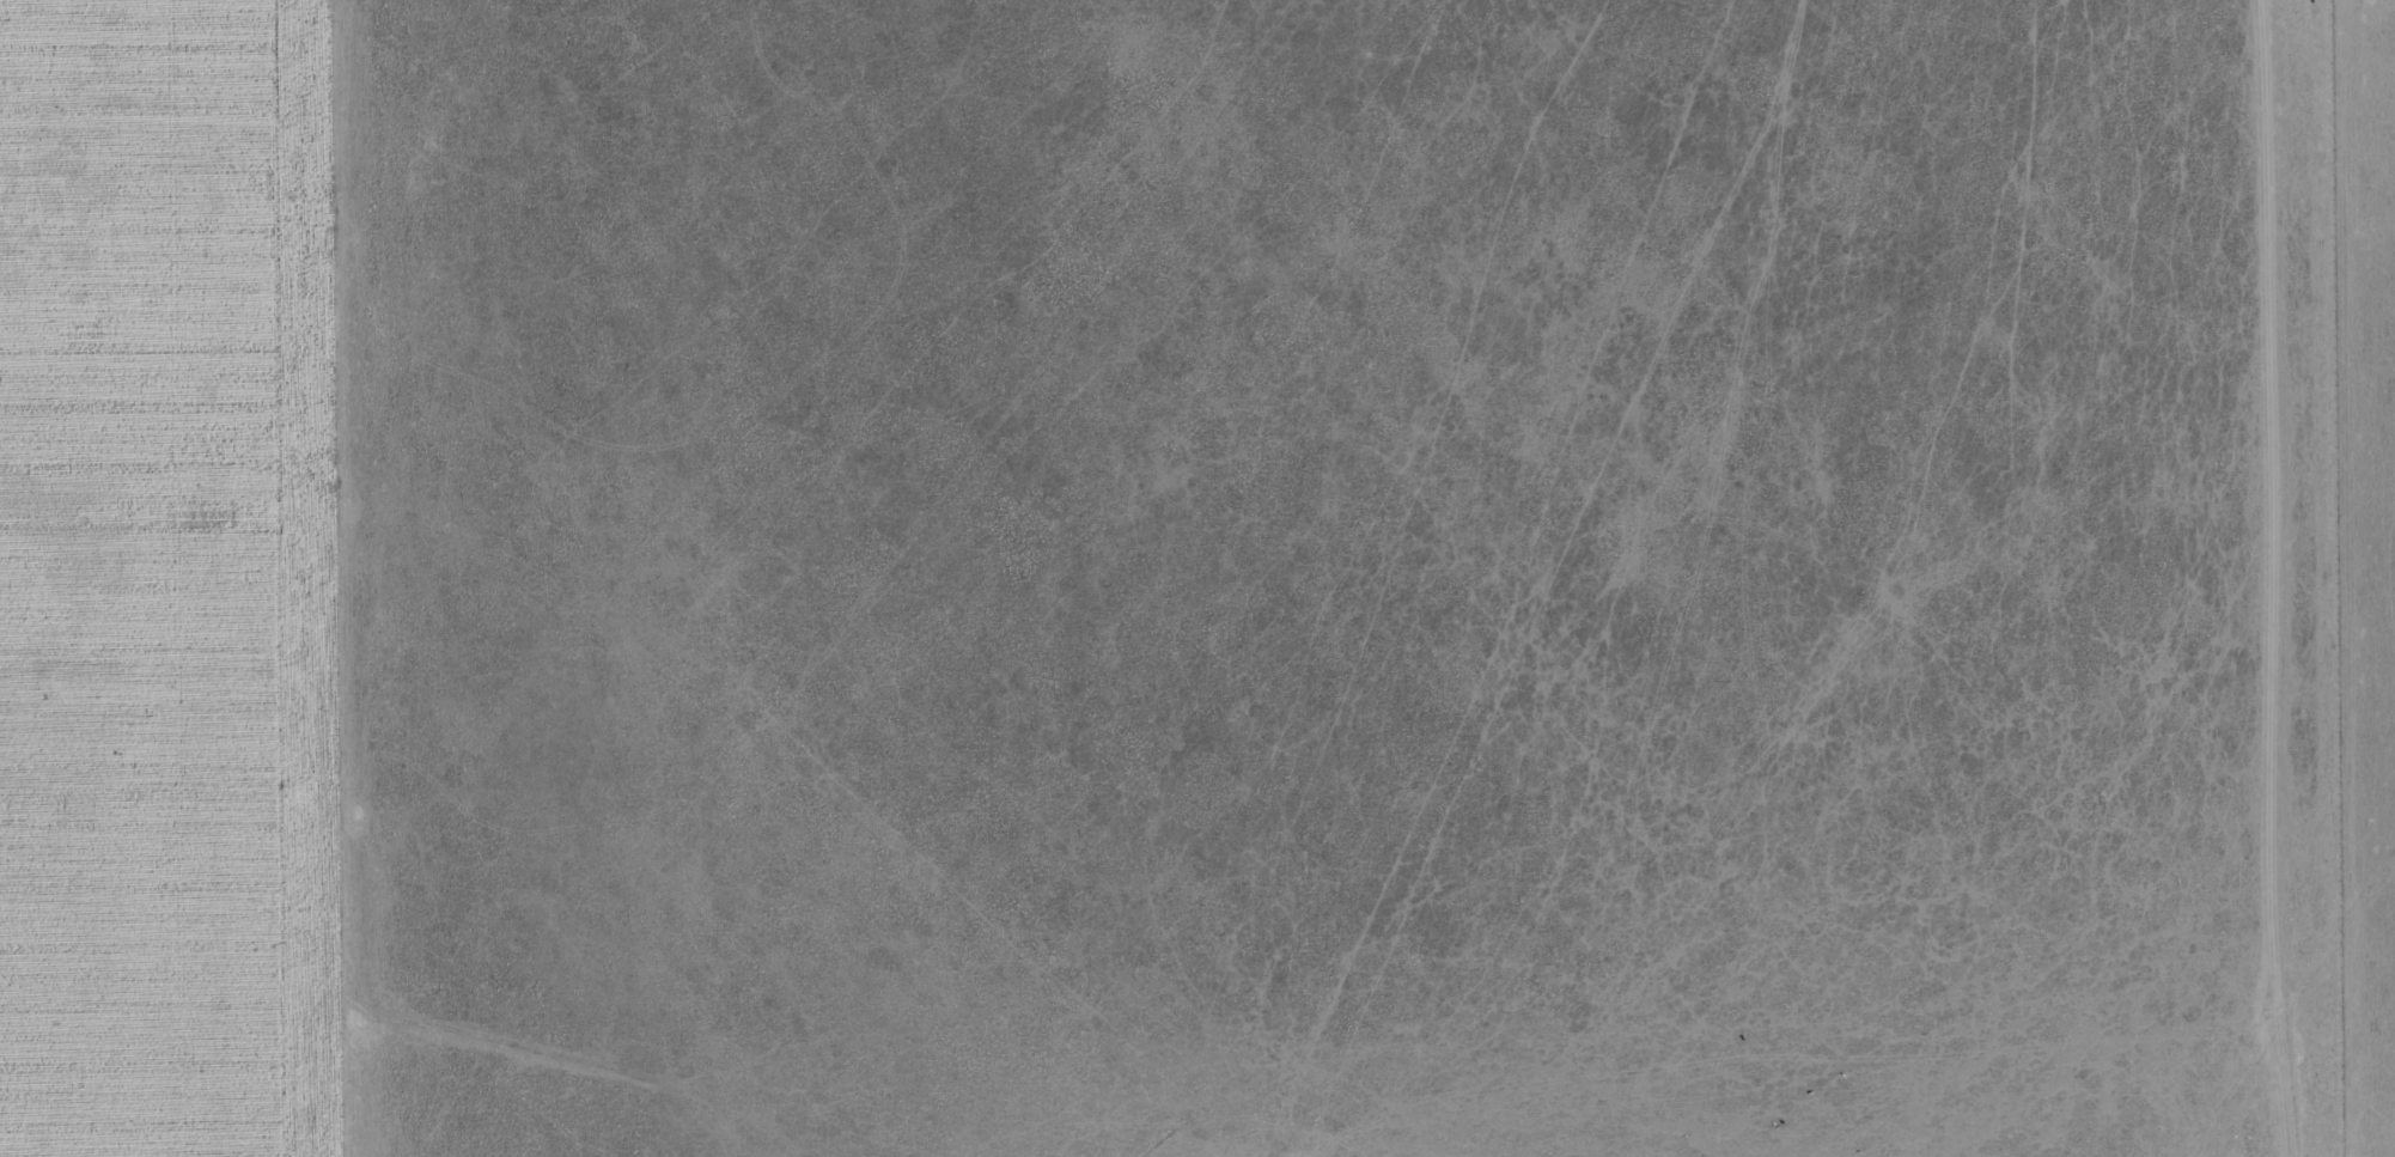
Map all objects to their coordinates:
road: (2362, 418)

